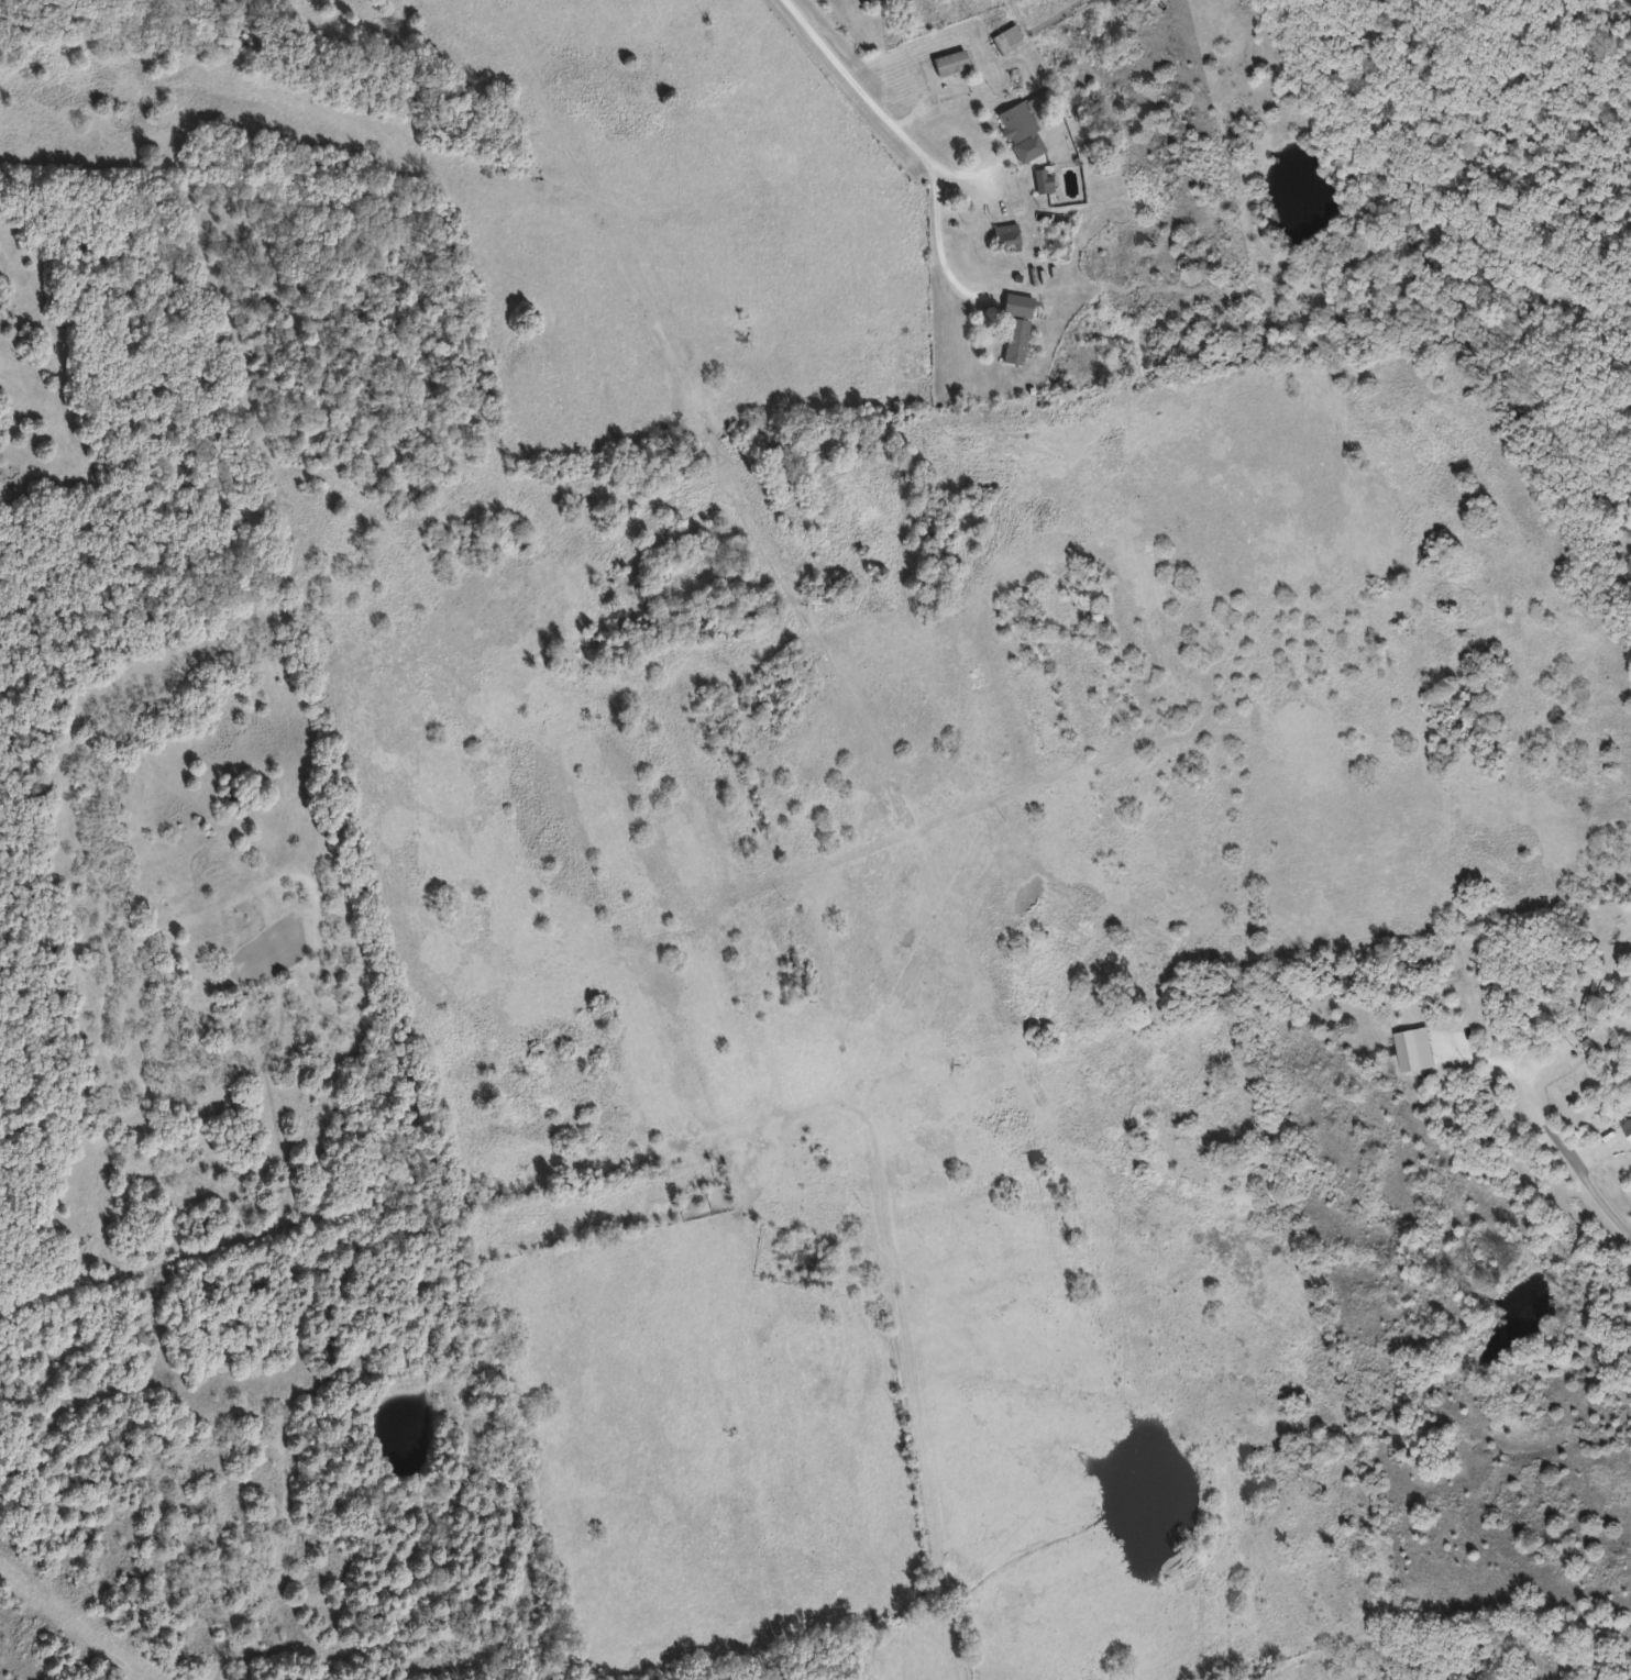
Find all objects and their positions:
building: (1015, 34)
building: (952, 62)
building: (1024, 131)
road: (911, 139)
building: (1045, 179)
building: (1009, 234)
road: (1366, 244)
building: (1020, 325)
building: (1506, 1116)
building: (1629, 1124)
road: (1557, 1137)

